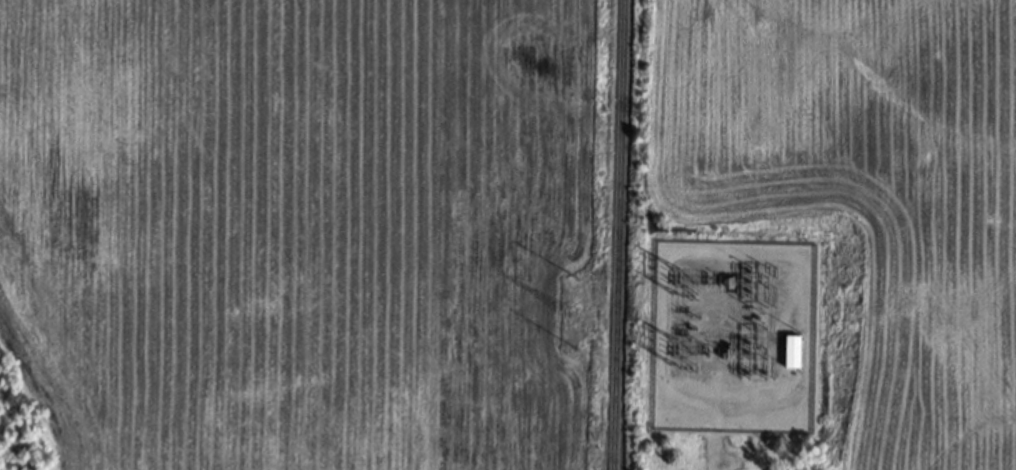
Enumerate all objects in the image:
railway: (618, 235)
power tower: (669, 277)
power tower: (574, 278)
power tower: (565, 314)
power substation: (732, 337)
power tower: (668, 347)
power tower: (572, 349)
building: (788, 352)

